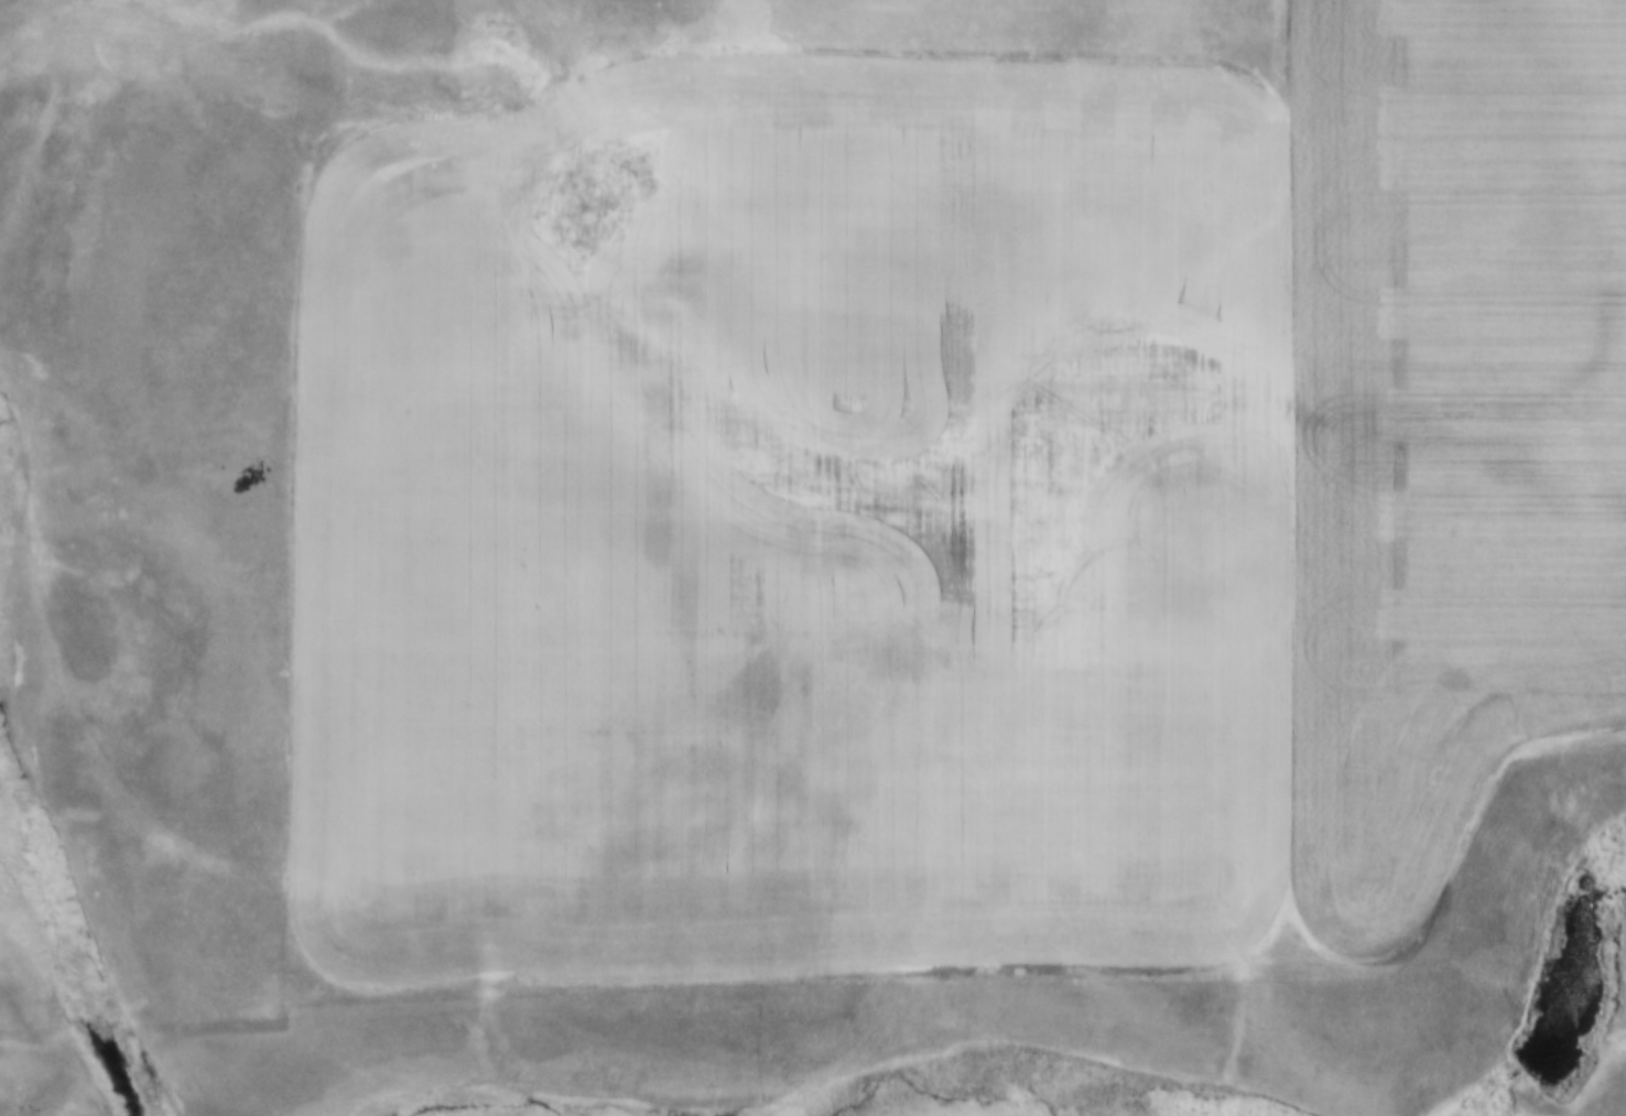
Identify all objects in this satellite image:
road: (502, 4)
road: (1453, 859)

